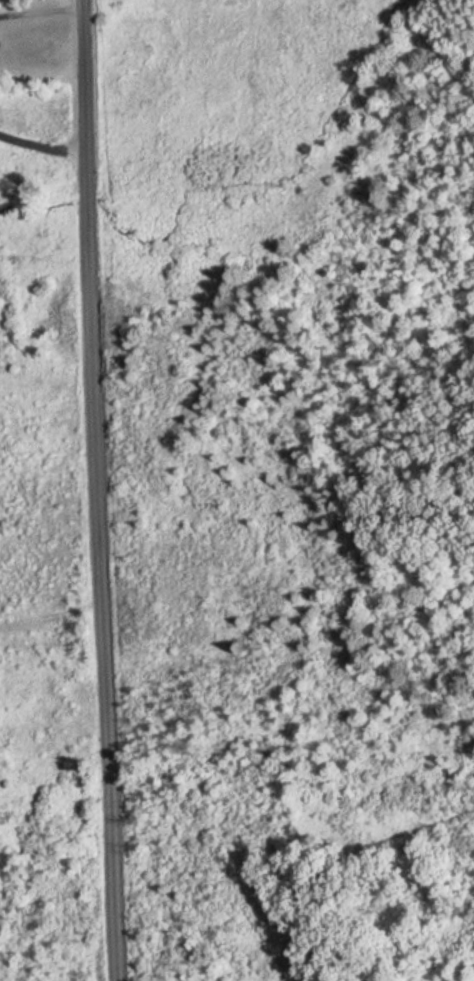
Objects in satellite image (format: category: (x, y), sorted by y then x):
road: (39, 11)
road: (40, 138)
road: (97, 490)
park: (251, 714)

